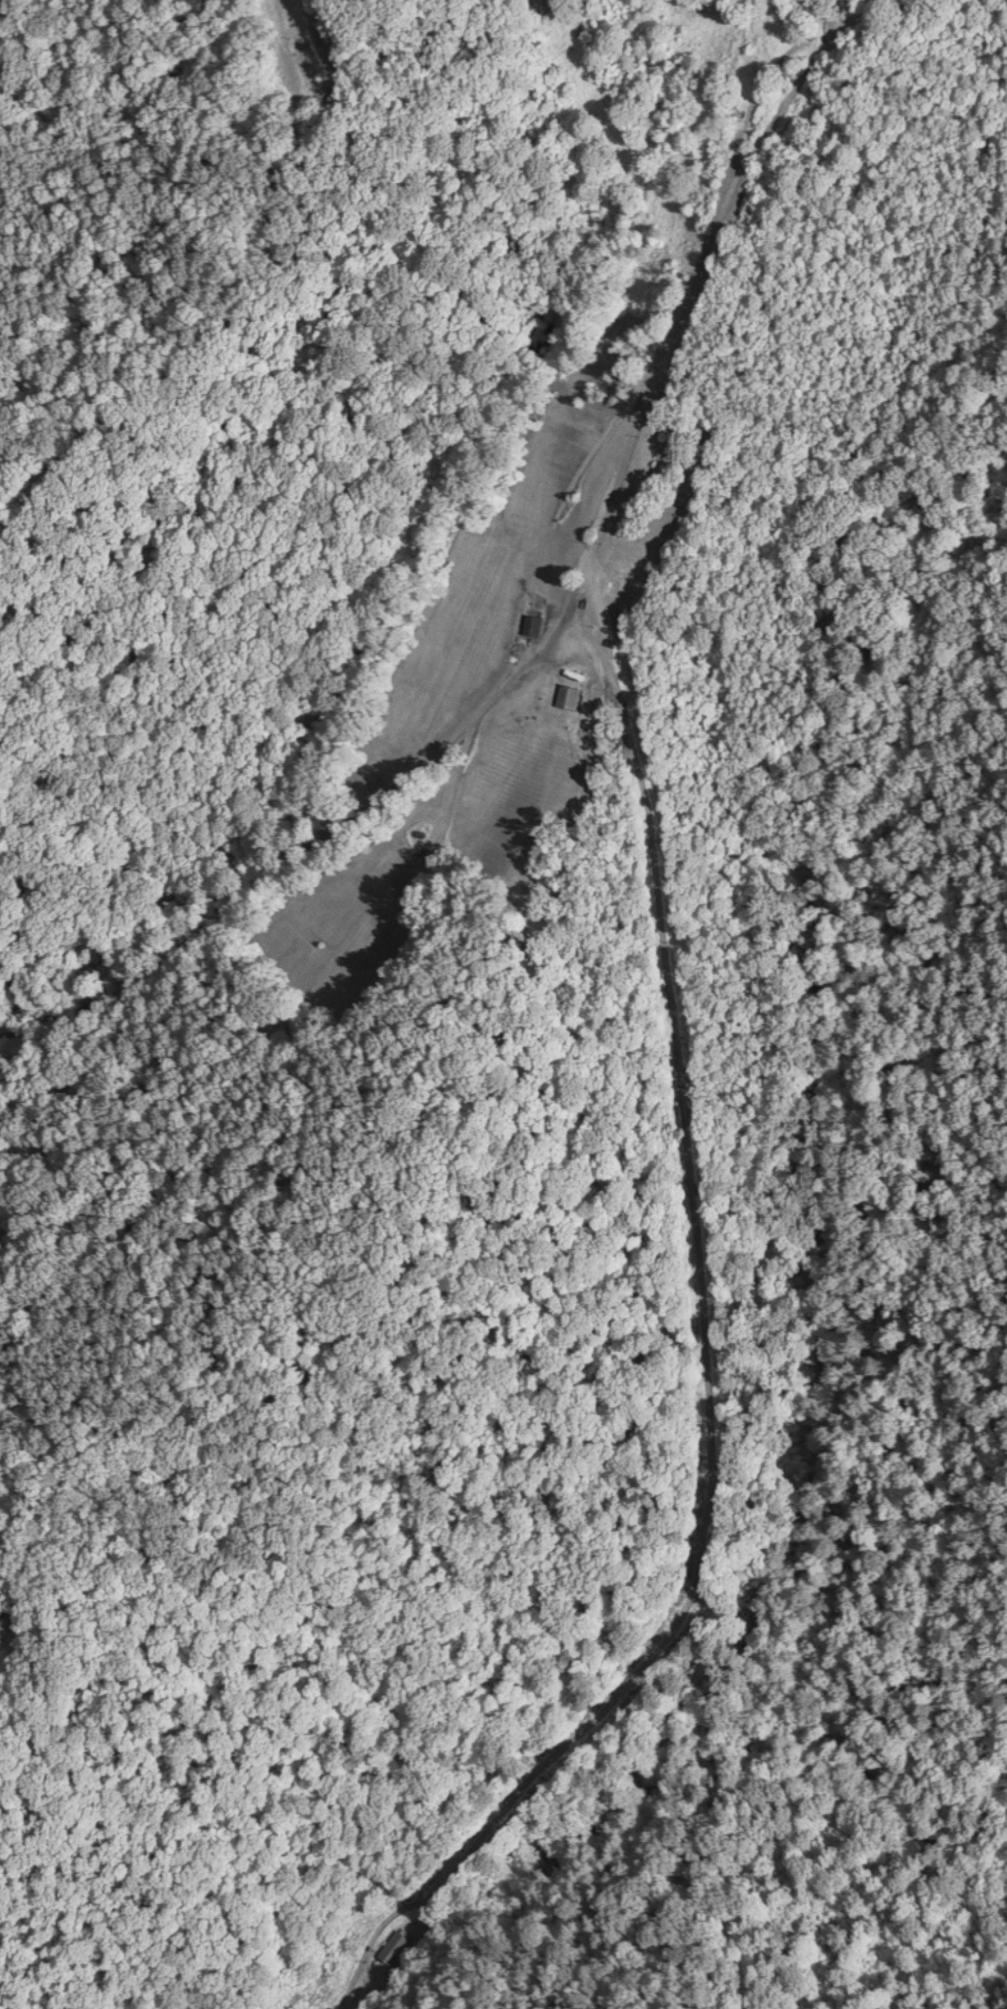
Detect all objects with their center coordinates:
road: (677, 321)
building: (565, 697)
road: (310, 865)
road: (706, 1383)
building: (396, 1947)

